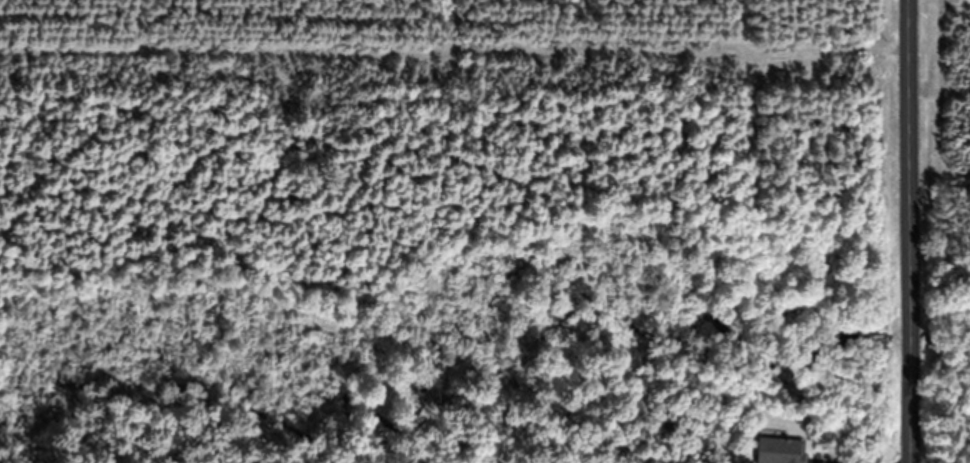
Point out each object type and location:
road: (910, 231)
building: (779, 451)

